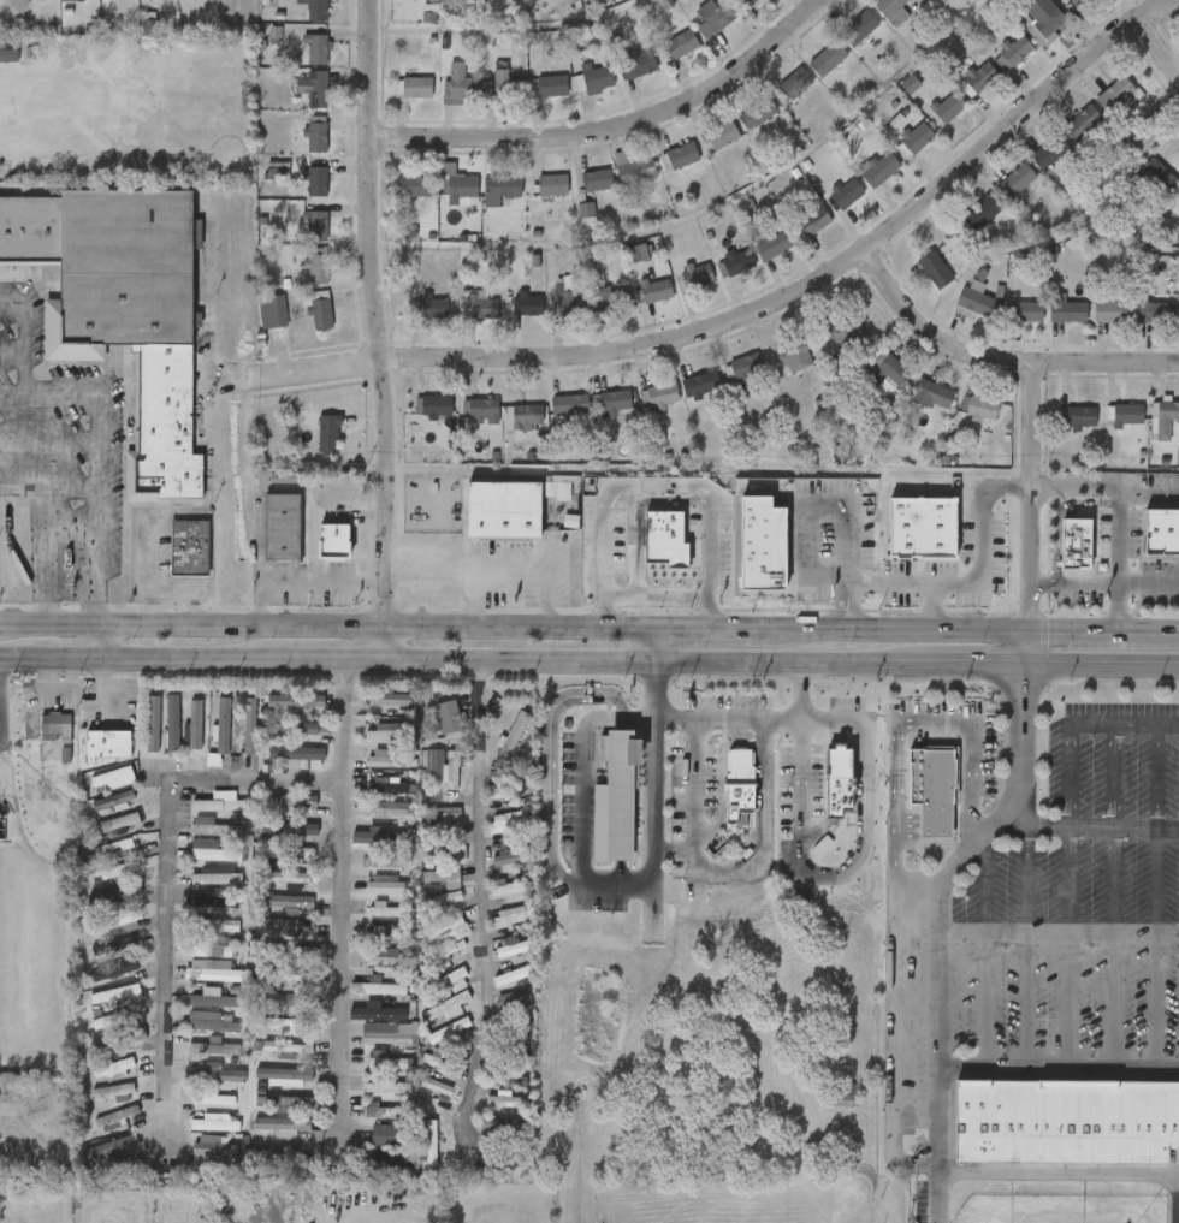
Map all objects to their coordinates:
building: (10, 0)
building: (72, 0)
building: (166, 1)
building: (748, 1)
building: (1080, 2)
building: (890, 7)
building: (51, 10)
building: (318, 10)
building: (153, 13)
building: (713, 16)
building: (1042, 22)
building: (859, 26)
building: (681, 43)
building: (318, 48)
building: (1015, 48)
road: (1159, 49)
building: (10, 53)
building: (828, 58)
building: (635, 63)
building: (980, 76)
building: (598, 78)
building: (798, 82)
building: (502, 83)
building: (457, 84)
building: (552, 84)
building: (911, 84)
building: (416, 87)
building: (315, 88)
building: (1115, 94)
building: (948, 106)
building: (758, 112)
building: (1085, 119)
road: (615, 127)
building: (723, 133)
building: (316, 136)
building: (914, 138)
building: (1049, 150)
building: (682, 155)
building: (634, 167)
building: (1155, 168)
building: (881, 170)
building: (597, 179)
building: (316, 180)
building: (1017, 180)
building: (552, 184)
building: (414, 185)
building: (460, 186)
building: (500, 188)
building: (847, 192)
building: (587, 210)
building: (982, 213)
building: (814, 220)
building: (315, 225)
building: (774, 243)
building: (739, 259)
building: (315, 267)
building: (935, 268)
building: (699, 274)
building: (656, 289)
building: (616, 299)
building: (573, 301)
building: (528, 303)
building: (433, 304)
building: (480, 304)
building: (971, 304)
building: (320, 309)
road: (764, 309)
building: (122, 310)
building: (1026, 310)
building: (1068, 310)
building: (1112, 310)
building: (1155, 310)
building: (274, 314)
building: (845, 330)
road: (379, 339)
building: (794, 354)
road: (997, 358)
building: (745, 366)
building: (893, 369)
building: (701, 382)
building: (887, 390)
road: (57, 393)
building: (934, 393)
building: (663, 394)
building: (616, 400)
road: (17, 402)
building: (434, 405)
building: (982, 408)
building: (570, 409)
building: (484, 410)
building: (526, 414)
building: (1125, 414)
building: (1080, 416)
building: (1163, 417)
building: (330, 433)
building: (285, 477)
road: (656, 486)
road: (208, 491)
building: (559, 492)
road: (1150, 492)
road: (1032, 495)
road: (804, 499)
road: (97, 507)
building: (502, 509)
road: (1121, 516)
building: (282, 526)
building: (922, 526)
building: (1161, 530)
building: (664, 536)
building: (334, 541)
building: (1077, 542)
building: (189, 546)
building: (764, 547)
road: (43, 557)
road: (510, 565)
road: (980, 581)
road: (1077, 581)
road: (1150, 582)
road: (173, 584)
road: (658, 600)
road: (845, 604)
road: (931, 605)
road: (22, 623)
road: (350, 625)
road: (716, 628)
road: (902, 629)
road: (1091, 630)
road: (1165, 631)
road: (96, 641)
road: (658, 645)
road: (1032, 647)
road: (23, 658)
road: (611, 661)
road: (800, 689)
building: (390, 697)
building: (295, 701)
road: (641, 714)
building: (449, 717)
road: (342, 720)
building: (173, 723)
road: (1122, 723)
building: (154, 724)
building: (248, 725)
building: (195, 726)
building: (223, 726)
building: (57, 728)
building: (290, 729)
building: (390, 732)
building: (511, 738)
building: (108, 744)
building: (298, 755)
building: (214, 760)
building: (387, 760)
building: (444, 766)
road: (654, 774)
road: (1067, 774)
road: (1113, 776)
road: (1157, 776)
building: (114, 778)
road: (269, 782)
building: (835, 782)
road: (693, 783)
road: (582, 784)
building: (389, 786)
building: (740, 786)
building: (934, 786)
road: (551, 788)
building: (620, 795)
road: (763, 797)
building: (292, 801)
building: (113, 802)
building: (221, 803)
building: (392, 811)
building: (109, 814)
building: (443, 815)
building: (119, 823)
building: (509, 823)
building: (213, 827)
road: (1089, 827)
building: (292, 829)
building: (381, 838)
road: (936, 842)
road: (860, 848)
building: (114, 851)
building: (213, 851)
building: (290, 853)
building: (445, 853)
building: (510, 857)
road: (894, 866)
building: (114, 873)
building: (218, 877)
building: (442, 877)
building: (286, 879)
road: (919, 879)
building: (389, 886)
building: (511, 887)
building: (115, 896)
road: (482, 897)
building: (214, 900)
building: (443, 900)
building: (284, 903)
building: (390, 910)
building: (510, 916)
building: (120, 922)
building: (218, 926)
building: (284, 926)
road: (940, 930)
building: (385, 936)
building: (448, 937)
road: (1059, 938)
road: (1026, 945)
building: (513, 946)
building: (217, 948)
road: (1066, 949)
road: (1112, 949)
road: (1155, 949)
building: (298, 955)
road: (987, 955)
building: (385, 957)
building: (115, 970)
building: (213, 972)
building: (513, 976)
building: (284, 978)
building: (449, 982)
building: (379, 989)
building: (119, 996)
building: (212, 999)
building: (514, 1001)
building: (284, 1003)
building: (448, 1007)
building: (378, 1013)
building: (113, 1020)
building: (213, 1022)
building: (286, 1026)
building: (450, 1032)
building: (387, 1039)
building: (119, 1041)
building: (217, 1047)
building: (288, 1049)
building: (386, 1061)
building: (114, 1070)
road: (1057, 1070)
building: (214, 1074)
building: (285, 1076)
building: (387, 1086)
building: (439, 1090)
building: (114, 1093)
building: (212, 1099)
building: (506, 1100)
building: (284, 1102)
building: (383, 1112)
building: (1066, 1118)
building: (115, 1120)
building: (215, 1123)
building: (283, 1124)
building: (504, 1124)
building: (390, 1135)
building: (432, 1145)
building: (114, 1147)
building: (213, 1152)
building: (273, 1154)
building: (500, 1160)
road: (1057, 1168)

